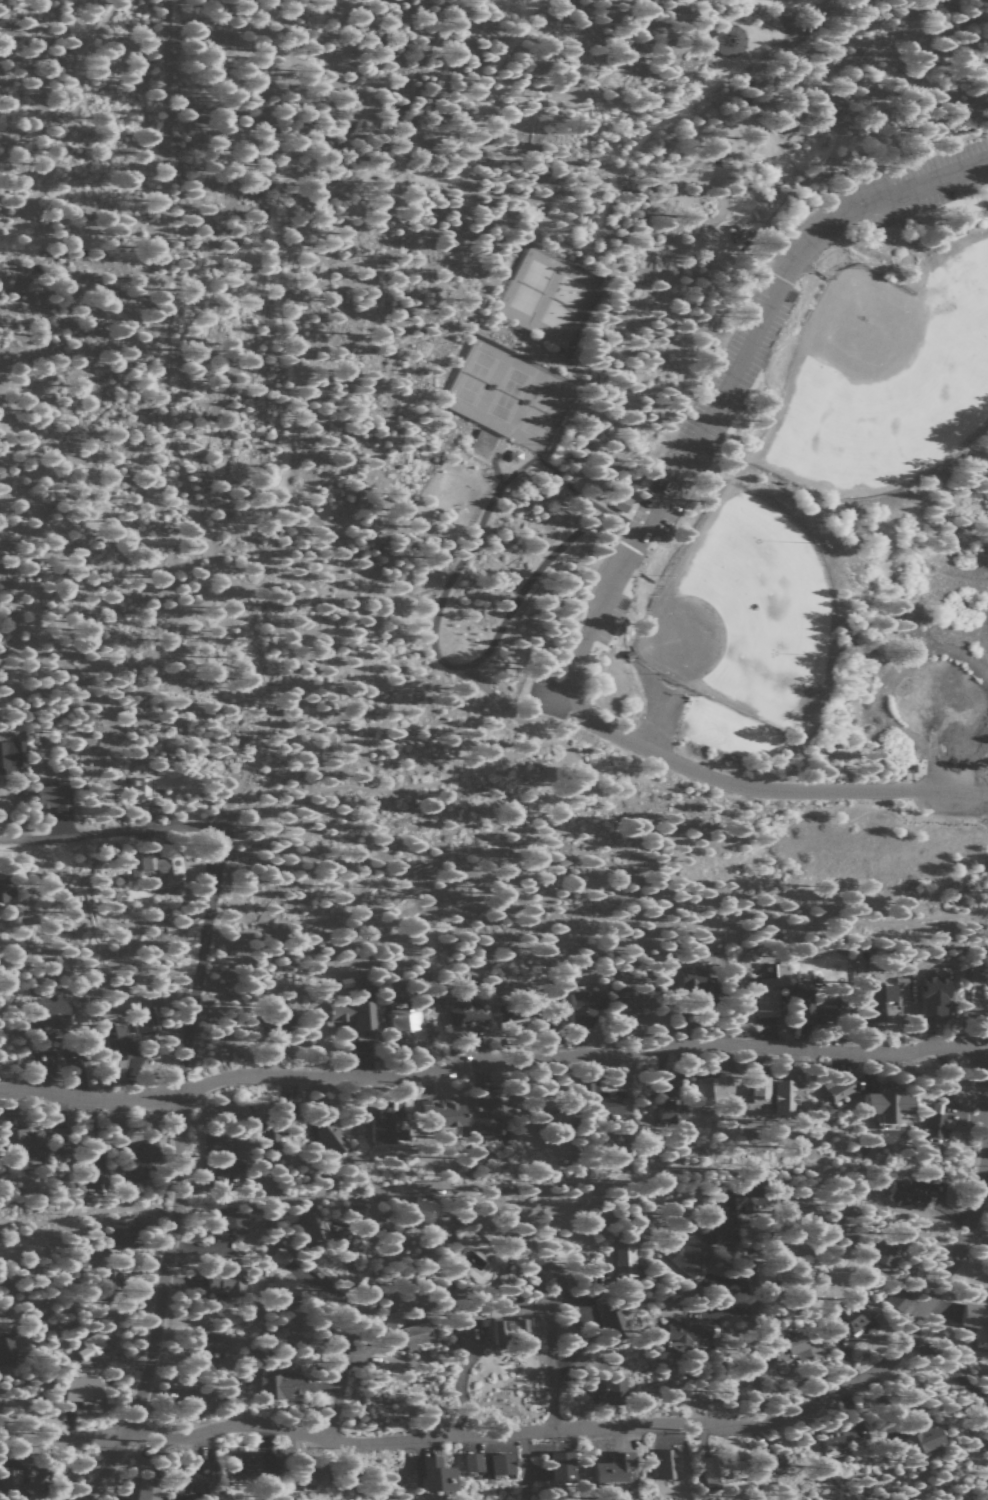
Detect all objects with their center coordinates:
road: (775, 0)
building: (728, 39)
road: (62, 115)
parking lot: (925, 181)
road: (155, 269)
road: (769, 294)
park: (545, 295)
road: (600, 300)
park: (885, 377)
park: (505, 395)
parking lot: (711, 406)
park: (628, 408)
road: (293, 421)
building: (633, 483)
building: (623, 503)
road: (147, 524)
park: (748, 613)
road: (256, 680)
parking lot: (549, 697)
road: (552, 707)
road: (675, 763)
building: (913, 767)
road: (385, 783)
parking lot: (944, 790)
building: (140, 791)
building: (53, 797)
road: (111, 835)
road: (792, 891)
building: (5, 892)
road: (978, 913)
building: (700, 984)
building: (770, 993)
building: (883, 994)
building: (935, 994)
building: (625, 999)
building: (585, 1008)
building: (813, 1010)
building: (878, 1011)
building: (466, 1014)
building: (507, 1014)
building: (353, 1015)
building: (283, 1018)
building: (143, 1020)
building: (404, 1020)
building: (52, 1032)
building: (116, 1043)
building: (73, 1057)
road: (485, 1061)
building: (589, 1089)
building: (761, 1089)
building: (840, 1089)
building: (712, 1090)
building: (785, 1099)
building: (889, 1105)
building: (610, 1107)
building: (442, 1113)
building: (672, 1113)
building: (487, 1117)
building: (553, 1120)
building: (934, 1121)
building: (388, 1126)
building: (270, 1133)
building: (332, 1139)
building: (24, 1143)
building: (214, 1147)
building: (131, 1162)
building: (233, 1166)
building: (95, 1169)
road: (179, 1174)
building: (909, 1197)
building: (425, 1209)
building: (734, 1215)
building: (803, 1217)
building: (228, 1222)
building: (312, 1226)
building: (123, 1232)
building: (888, 1253)
building: (689, 1256)
building: (279, 1257)
building: (625, 1258)
building: (224, 1280)
building: (114, 1282)
building: (279, 1288)
building: (508, 1295)
building: (898, 1299)
building: (850, 1316)
building: (976, 1320)
building: (615, 1323)
building: (511, 1328)
building: (688, 1329)
building: (409, 1331)
road: (746, 1335)
building: (211, 1341)
road: (347, 1344)
building: (5, 1346)
building: (93, 1347)
building: (796, 1351)
road: (555, 1373)
building: (279, 1384)
building: (81, 1388)
building: (614, 1390)
building: (198, 1400)
road: (620, 1428)
building: (924, 1439)
building: (832, 1440)
building: (771, 1460)
building: (475, 1461)
building: (244, 1462)
building: (501, 1463)
building: (665, 1464)
building: (561, 1466)
building: (616, 1467)
building: (719, 1470)
building: (434, 1474)
building: (13, 1475)
building: (195, 1476)
building: (309, 1478)
building: (140, 1490)

